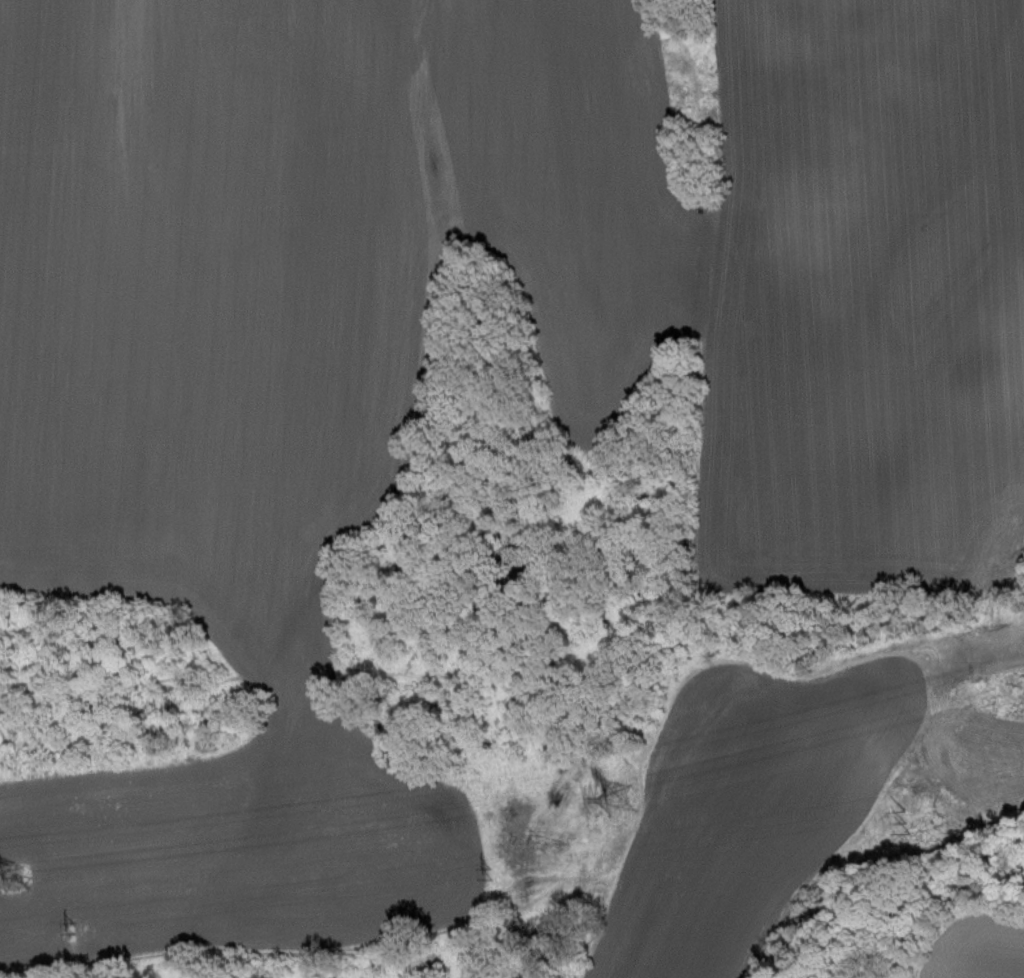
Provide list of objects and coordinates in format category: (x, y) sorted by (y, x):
power tower: (614, 800)
power tower: (14, 879)

